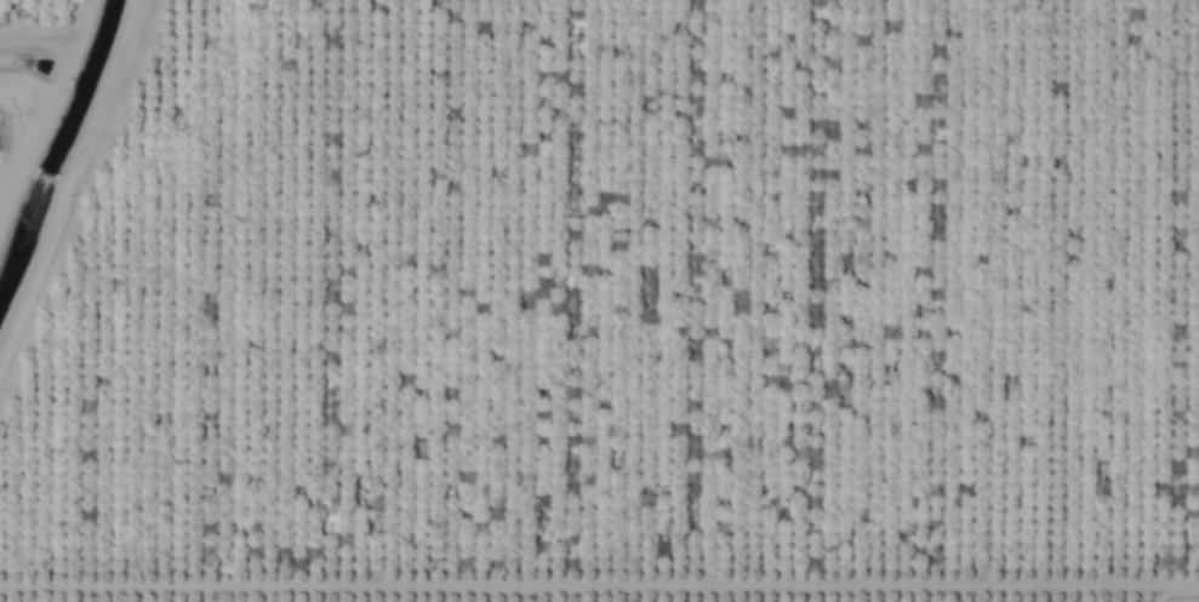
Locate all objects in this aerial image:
road: (599, 586)

